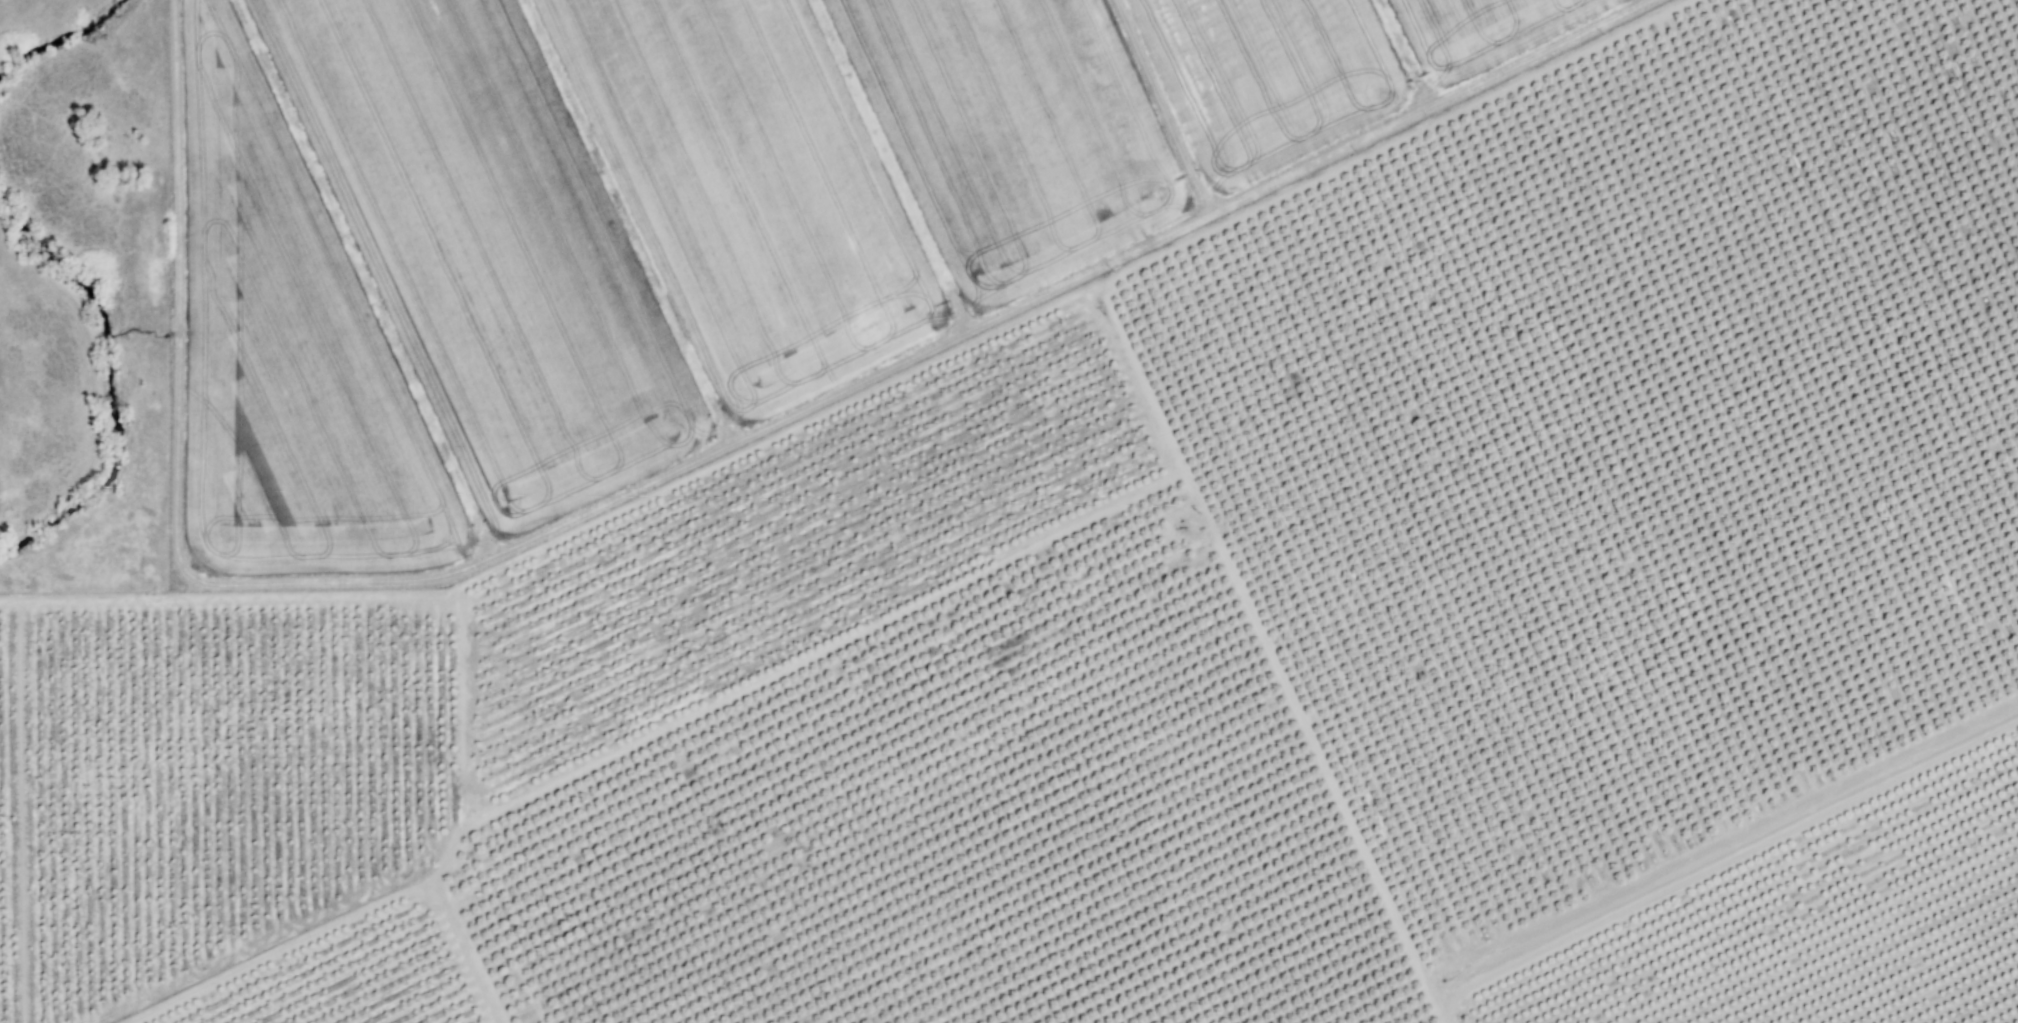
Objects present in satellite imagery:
road: (1003, 294)
road: (762, 632)
road: (1210, 663)
road: (413, 750)
road: (1702, 856)
road: (397, 910)

